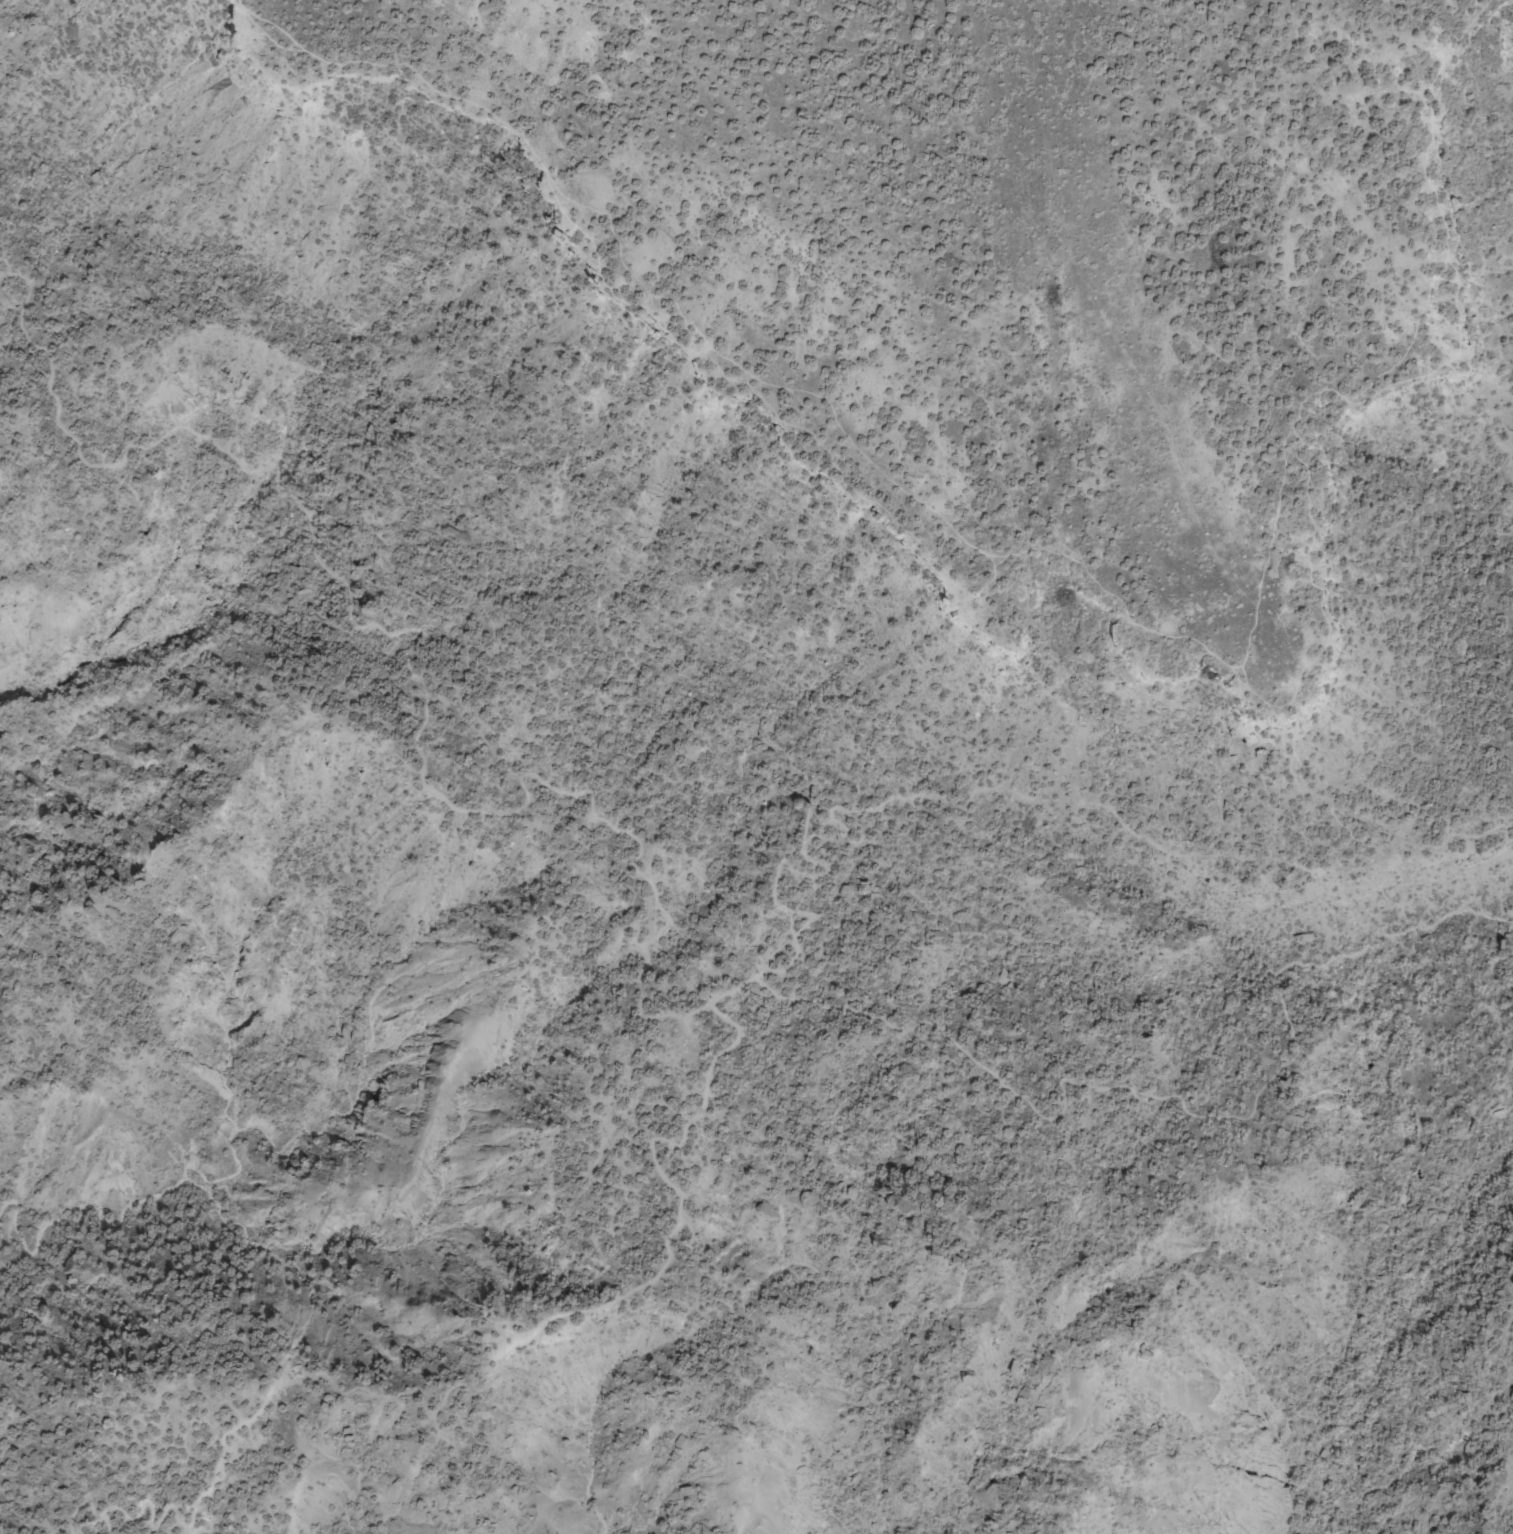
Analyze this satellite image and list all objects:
road: (1103, 316)
road: (1062, 552)
road: (1020, 792)
road: (661, 926)
road: (475, 1384)

